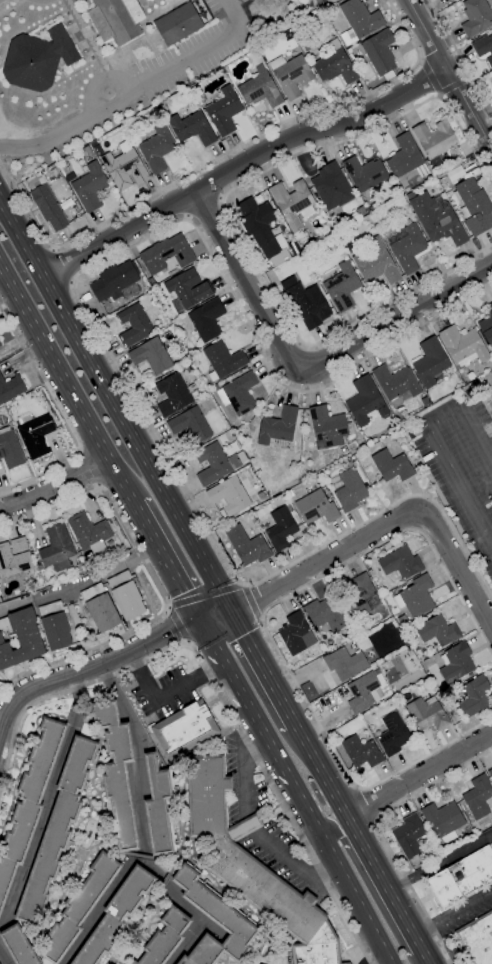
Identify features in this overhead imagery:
building: (325, 1)
parking lot: (216, 5)
building: (332, 8)
building: (313, 13)
building: (476, 17)
building: (116, 19)
building: (359, 21)
building: (178, 24)
building: (307, 46)
building: (484, 48)
building: (380, 53)
road: (460, 54)
building: (37, 59)
parking lot: (184, 59)
building: (335, 65)
road: (449, 74)
building: (290, 75)
road: (430, 78)
road: (99, 81)
road: (134, 86)
building: (194, 87)
building: (260, 91)
building: (224, 111)
building: (129, 124)
building: (192, 129)
building: (434, 141)
building: (157, 148)
building: (93, 156)
road: (220, 156)
building: (406, 158)
road: (240, 164)
building: (122, 167)
building: (53, 171)
building: (365, 174)
building: (332, 187)
building: (90, 188)
building: (293, 203)
building: (48, 204)
building: (475, 206)
road: (203, 208)
road: (230, 217)
building: (436, 219)
building: (262, 230)
building: (407, 246)
building: (167, 254)
building: (376, 263)
road: (63, 266)
building: (114, 280)
building: (342, 287)
building: (188, 290)
building: (305, 304)
building: (490, 305)
building: (207, 320)
building: (135, 325)
building: (486, 328)
road: (98, 333)
building: (0, 344)
building: (463, 347)
building: (152, 355)
building: (223, 360)
building: (430, 362)
road: (303, 369)
road: (64, 379)
building: (396, 383)
building: (10, 387)
building: (239, 393)
building: (174, 394)
building: (365, 401)
road: (115, 406)
road: (62, 417)
building: (191, 424)
building: (278, 426)
building: (327, 427)
building: (36, 435)
road: (434, 439)
building: (352, 445)
building: (10, 448)
building: (343, 450)
building: (215, 463)
building: (392, 466)
road: (87, 470)
parking lot: (464, 474)
road: (55, 485)
building: (350, 490)
building: (290, 493)
building: (230, 495)
building: (316, 507)
road: (383, 527)
building: (281, 528)
building: (89, 532)
building: (19, 545)
building: (247, 545)
building: (57, 547)
road: (164, 556)
building: (13, 561)
building: (400, 562)
building: (371, 572)
building: (38, 576)
road: (156, 582)
road: (81, 583)
road: (206, 594)
building: (126, 595)
building: (362, 596)
building: (416, 596)
road: (252, 602)
building: (100, 608)
traffic signals: (229, 611)
building: (325, 613)
traffic signals: (201, 618)
building: (403, 620)
road: (178, 624)
building: (55, 625)
road: (264, 629)
building: (438, 630)
building: (295, 632)
building: (354, 632)
building: (20, 638)
building: (421, 655)
building: (456, 662)
building: (345, 663)
road: (103, 664)
road: (263, 670)
road: (218, 690)
road: (165, 691)
building: (367, 691)
building: (475, 696)
building: (428, 713)
road: (260, 727)
building: (185, 729)
building: (393, 734)
building: (361, 751)
road: (246, 772)
building: (490, 772)
building: (117, 774)
road: (419, 775)
building: (478, 797)
road: (48, 802)
building: (29, 803)
road: (368, 803)
building: (158, 807)
building: (444, 819)
road: (142, 823)
road: (252, 823)
building: (57, 830)
road: (380, 834)
building: (409, 835)
parking lot: (490, 844)
road: (363, 846)
building: (243, 852)
road: (140, 856)
road: (440, 862)
road: (294, 864)
building: (462, 877)
road: (165, 880)
road: (169, 888)
road: (374, 894)
road: (354, 900)
building: (79, 907)
parking lot: (469, 907)
road: (452, 913)
building: (116, 916)
building: (214, 922)
building: (23, 926)
road: (213, 927)
building: (165, 937)
building: (477, 939)
road: (186, 941)
building: (18, 945)
building: (318, 948)
road: (3, 957)
road: (378, 959)
building: (43, 960)

